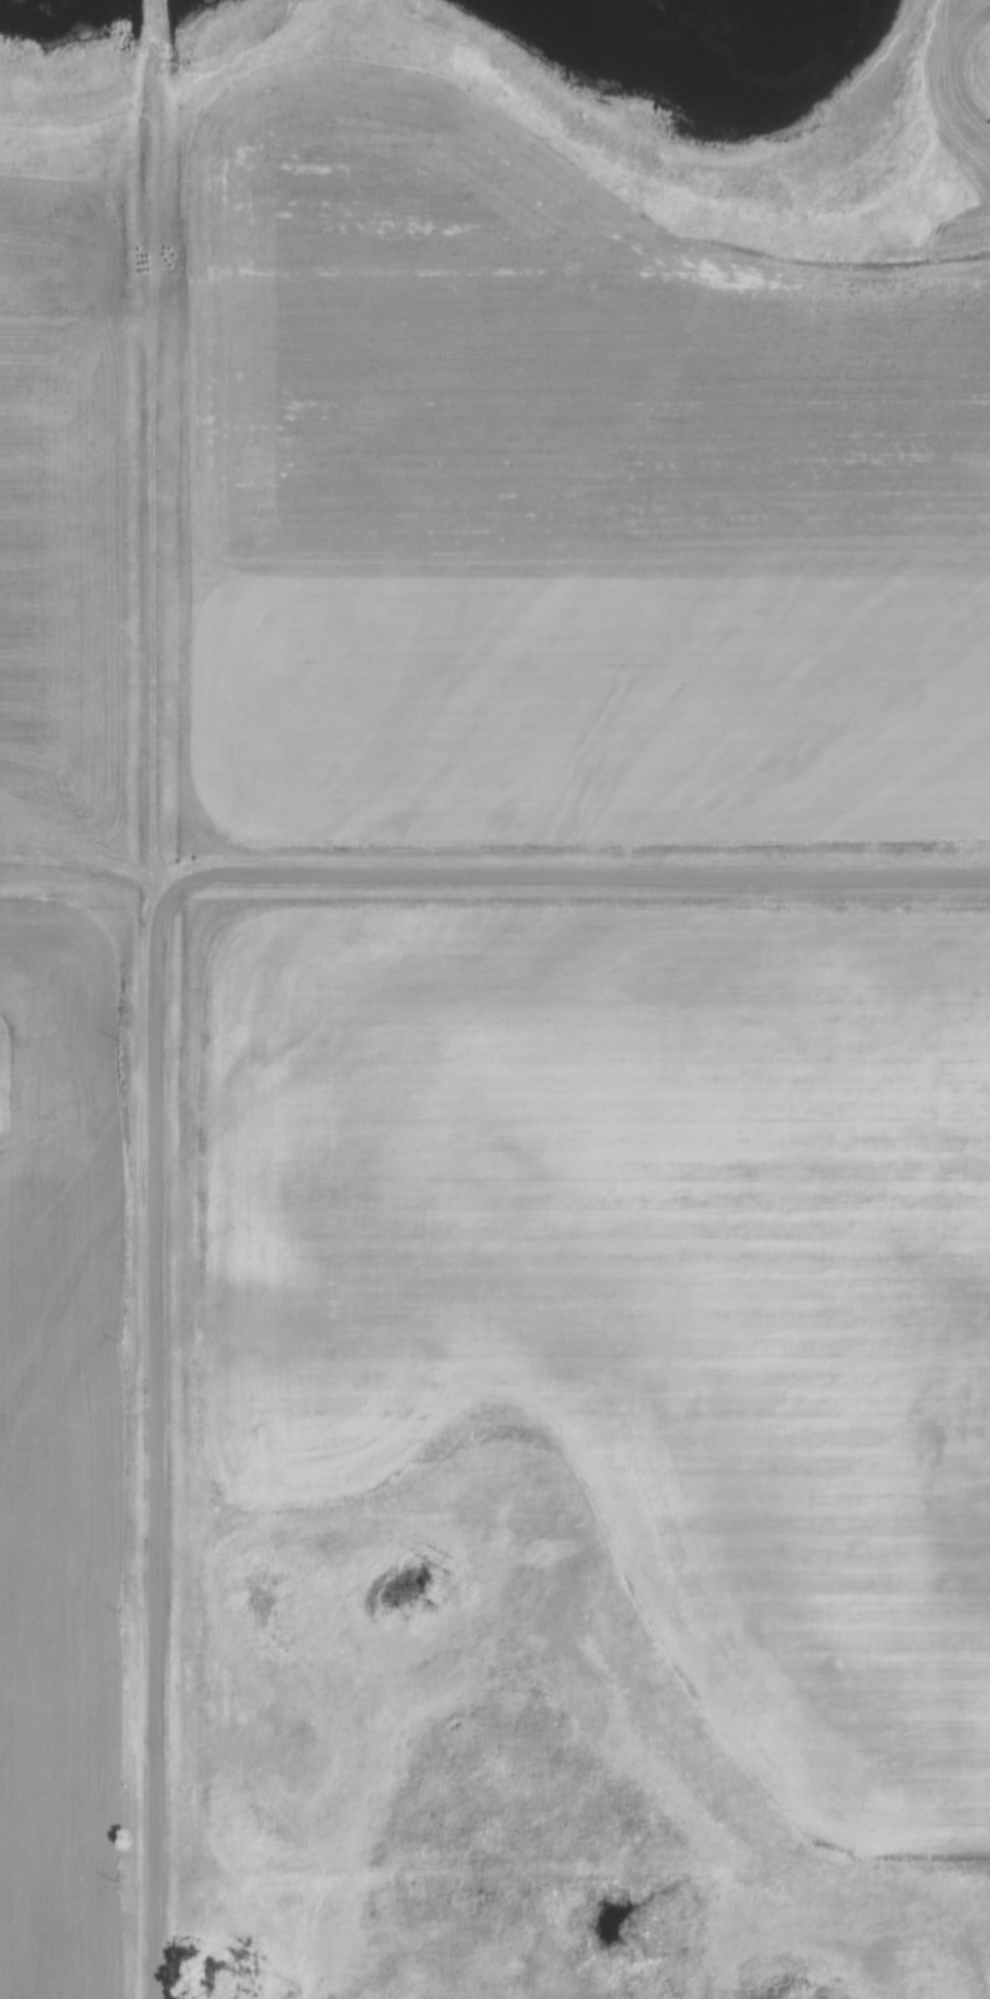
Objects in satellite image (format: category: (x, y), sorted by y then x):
crop: (593, 693)
road: (86, 866)
road: (575, 875)
road: (150, 997)

